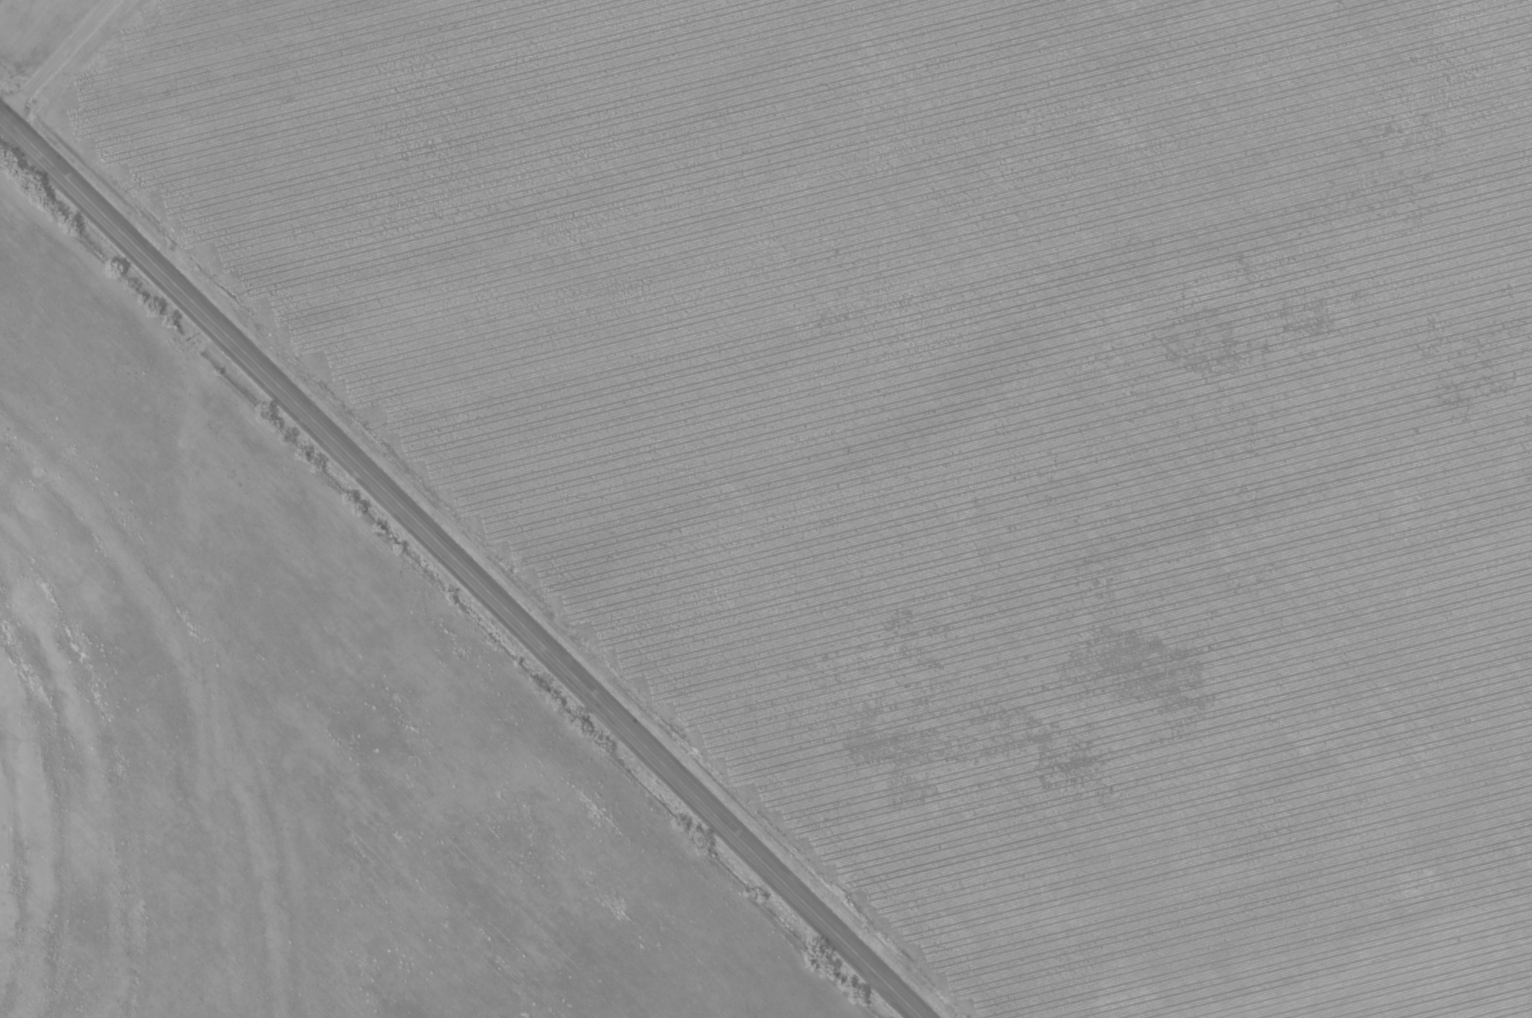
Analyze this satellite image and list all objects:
road: (462, 567)

